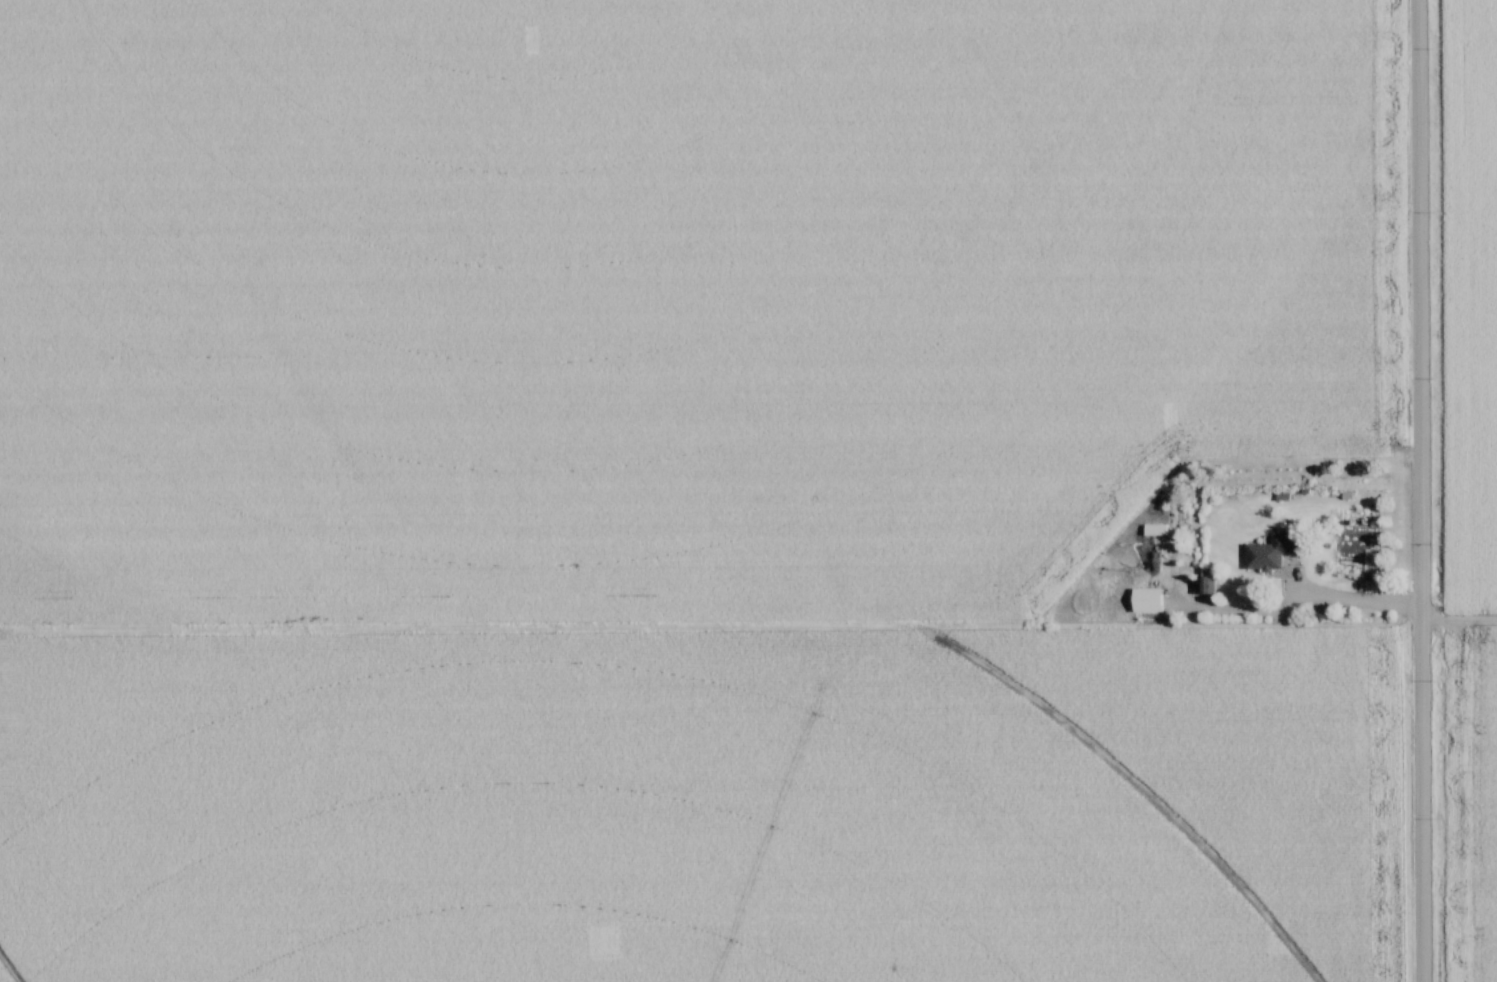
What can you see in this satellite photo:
road: (1420, 491)
building: (1155, 530)
building: (1270, 553)
building: (1146, 601)
road: (1354, 602)

